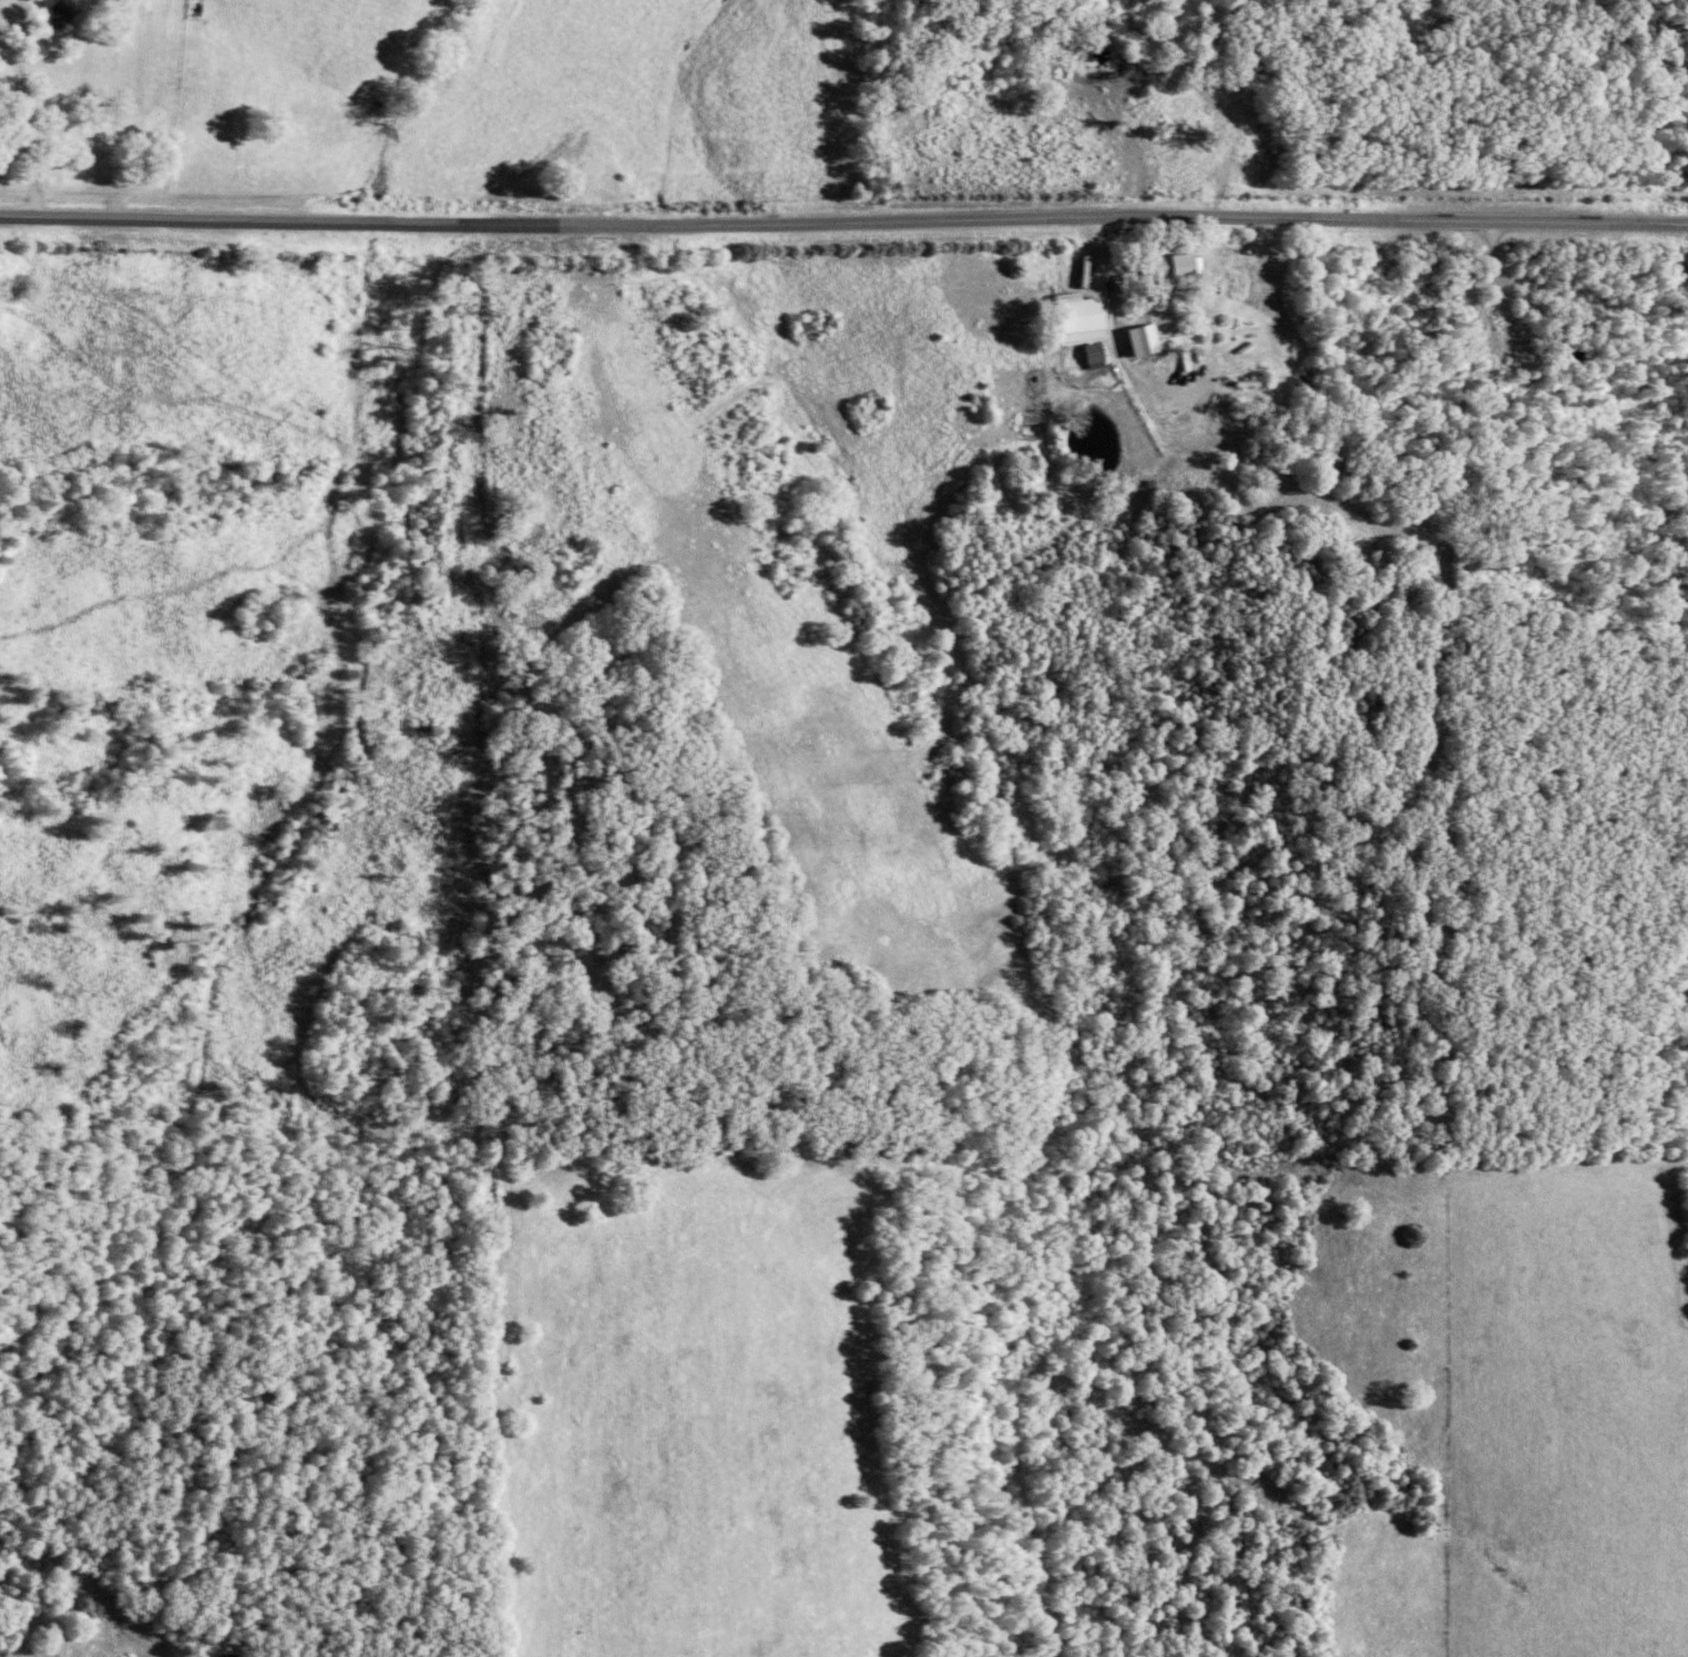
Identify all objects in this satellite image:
building: (65, 12)
road: (23, 111)
road: (843, 224)
building: (1177, 266)
building: (1092, 324)
building: (1152, 340)

